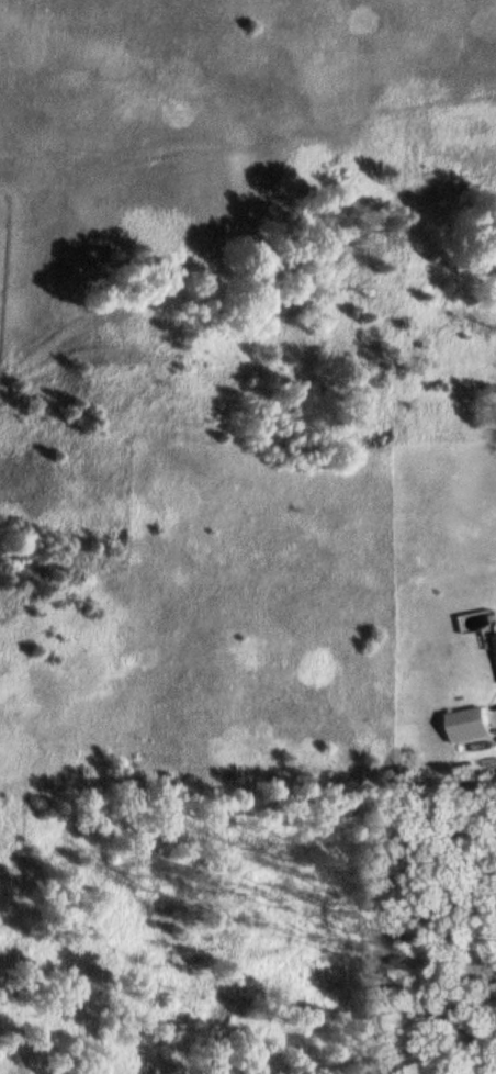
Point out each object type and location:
building: (474, 727)

